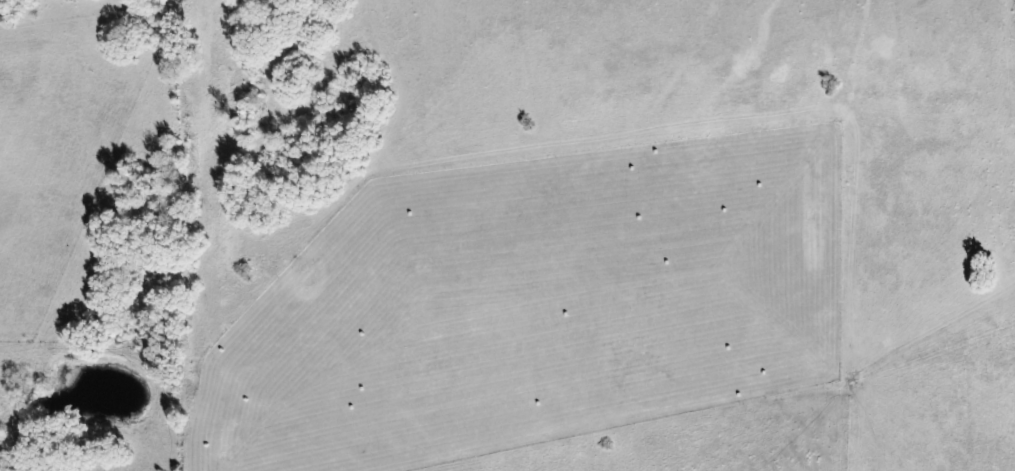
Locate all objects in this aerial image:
road: (930, 330)

